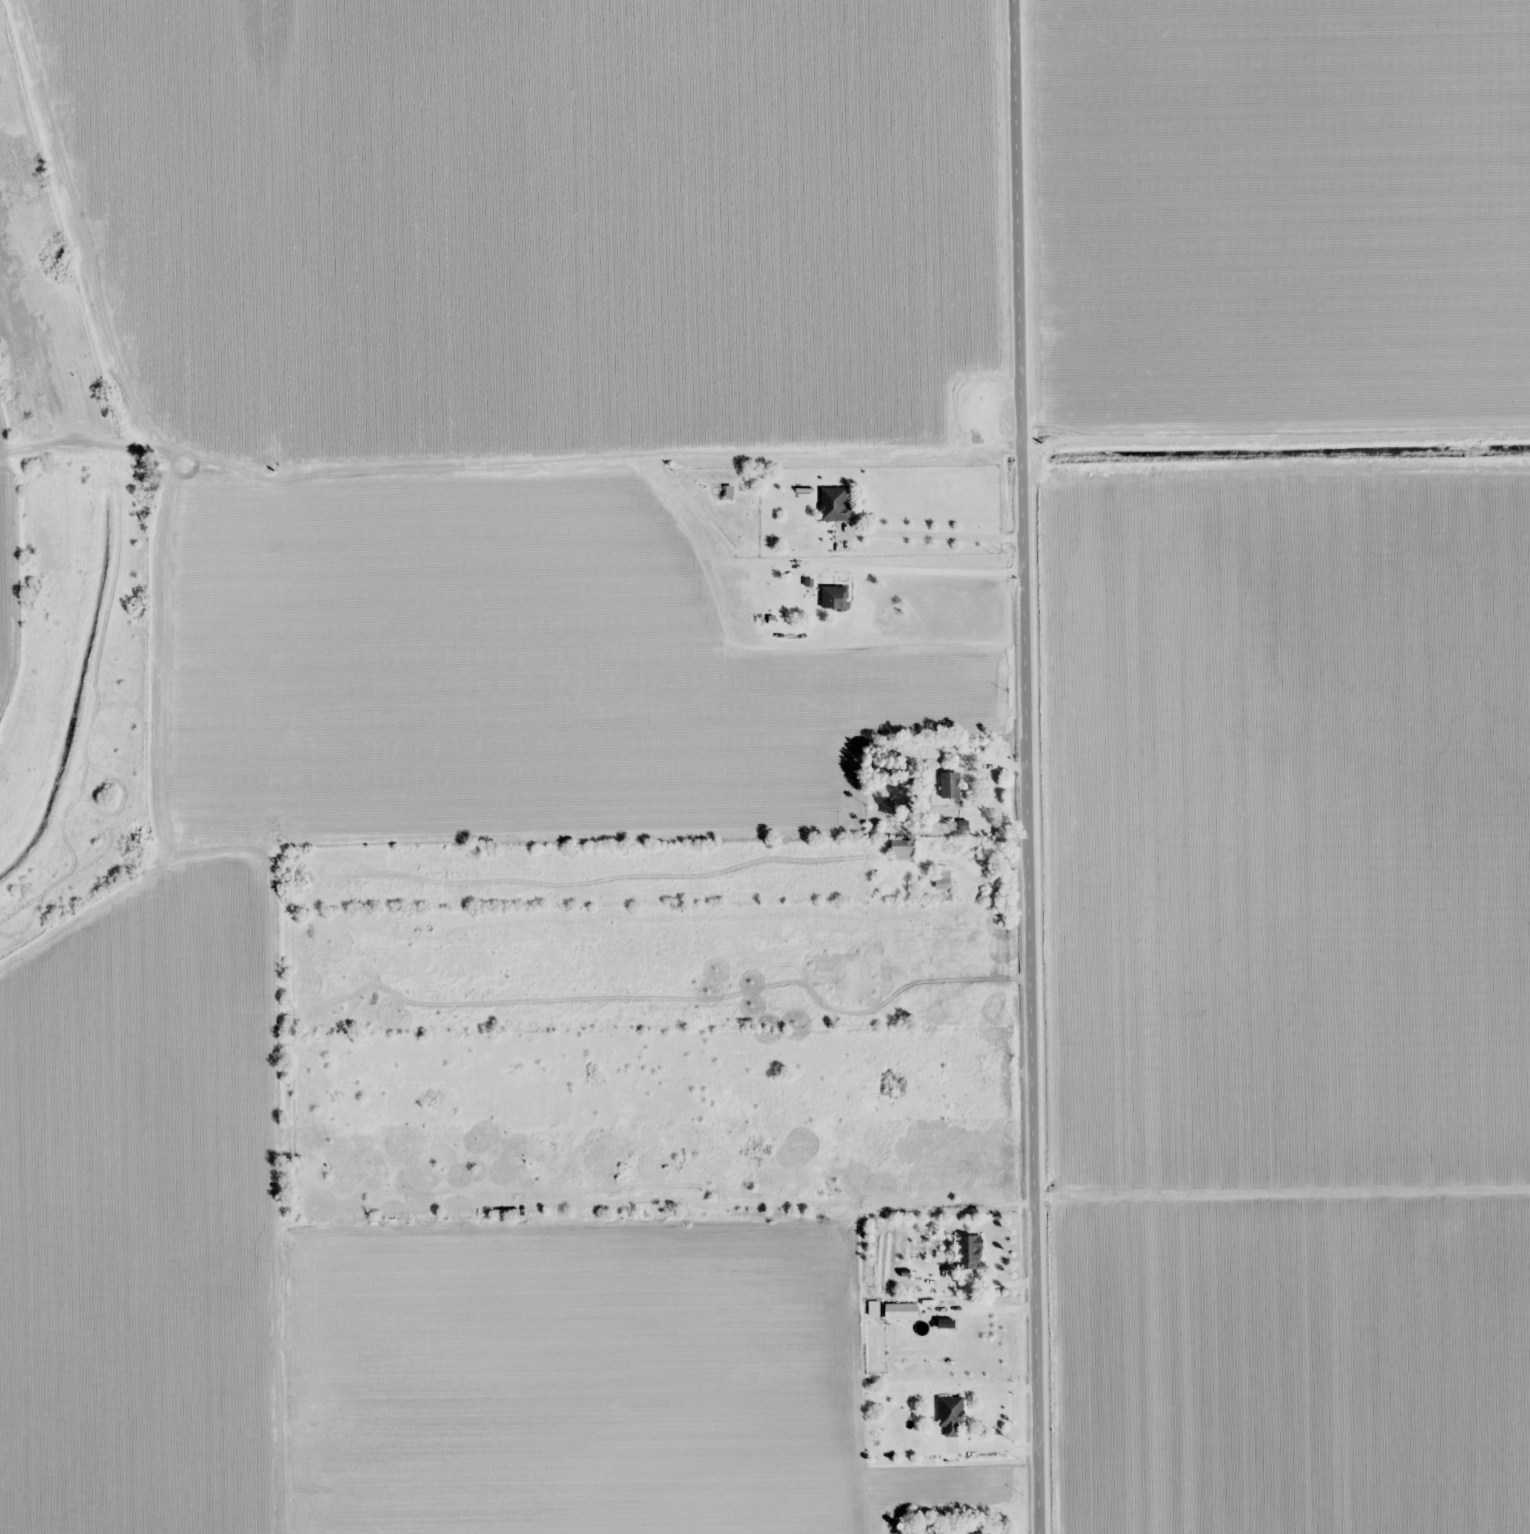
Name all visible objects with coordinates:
building: (726, 494)
building: (835, 504)
building: (834, 598)
road: (1020, 767)
building: (950, 785)
building: (904, 853)
building: (943, 877)
building: (970, 1251)
building: (951, 1415)
building: (981, 1533)

